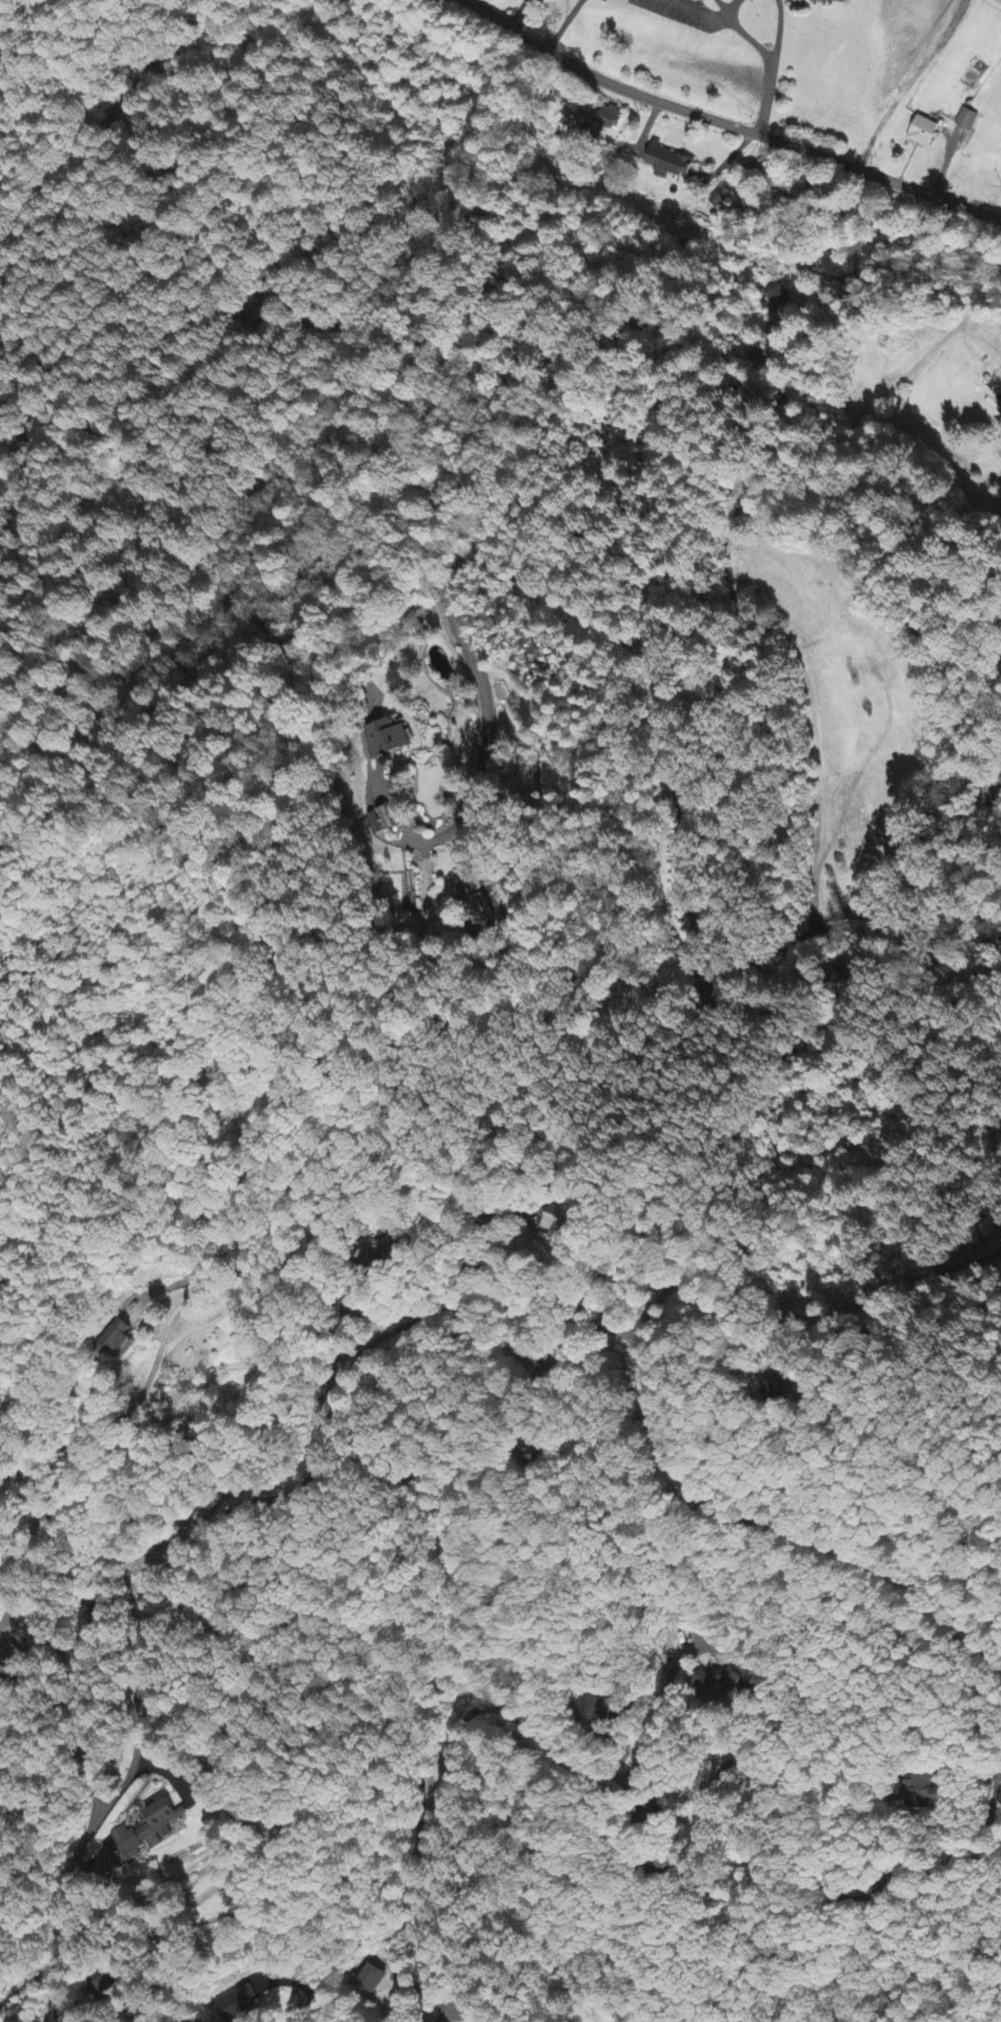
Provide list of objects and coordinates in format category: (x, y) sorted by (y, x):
road: (692, 8)
road: (565, 25)
road: (769, 63)
road: (123, 85)
road: (925, 90)
building: (967, 120)
building: (598, 124)
road: (727, 124)
building: (923, 132)
building: (667, 162)
building: (720, 197)
road: (898, 378)
road: (956, 388)
road: (660, 685)
road: (997, 1170)
building: (562, 1225)
road: (948, 1272)
road: (371, 1341)
road: (32, 1517)
road: (431, 1590)
building: (10, 1658)
building: (597, 1708)
road: (644, 1750)
building: (918, 1789)
road: (990, 1814)
building: (147, 1829)
road: (616, 1847)
road: (27, 1979)
building: (236, 2004)

